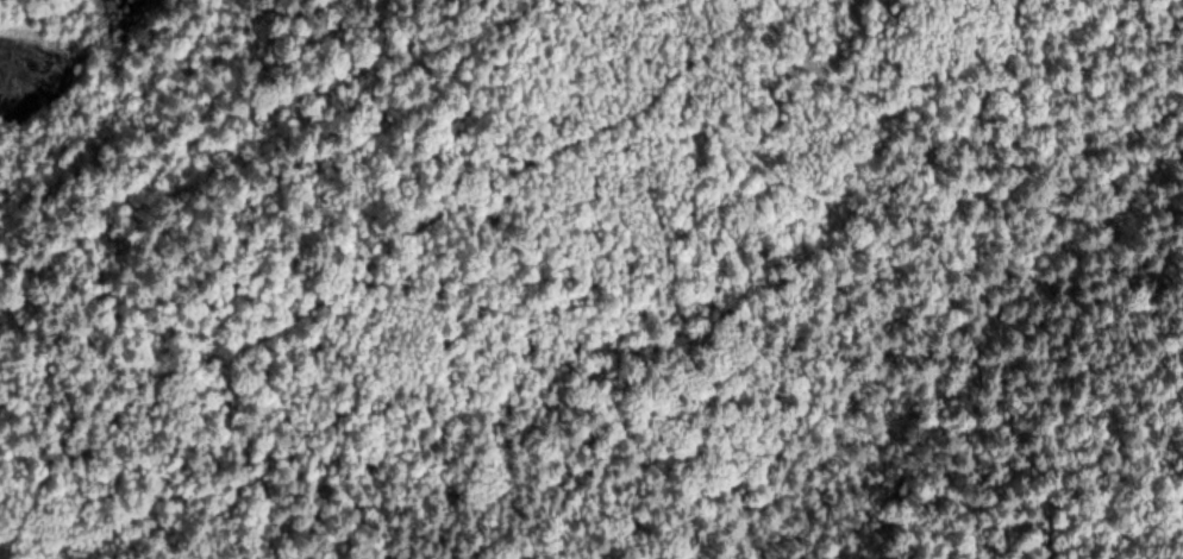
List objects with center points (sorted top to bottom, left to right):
road: (121, 193)
road: (878, 228)
road: (403, 234)
road: (27, 507)
road: (4, 539)
road: (20, 551)

